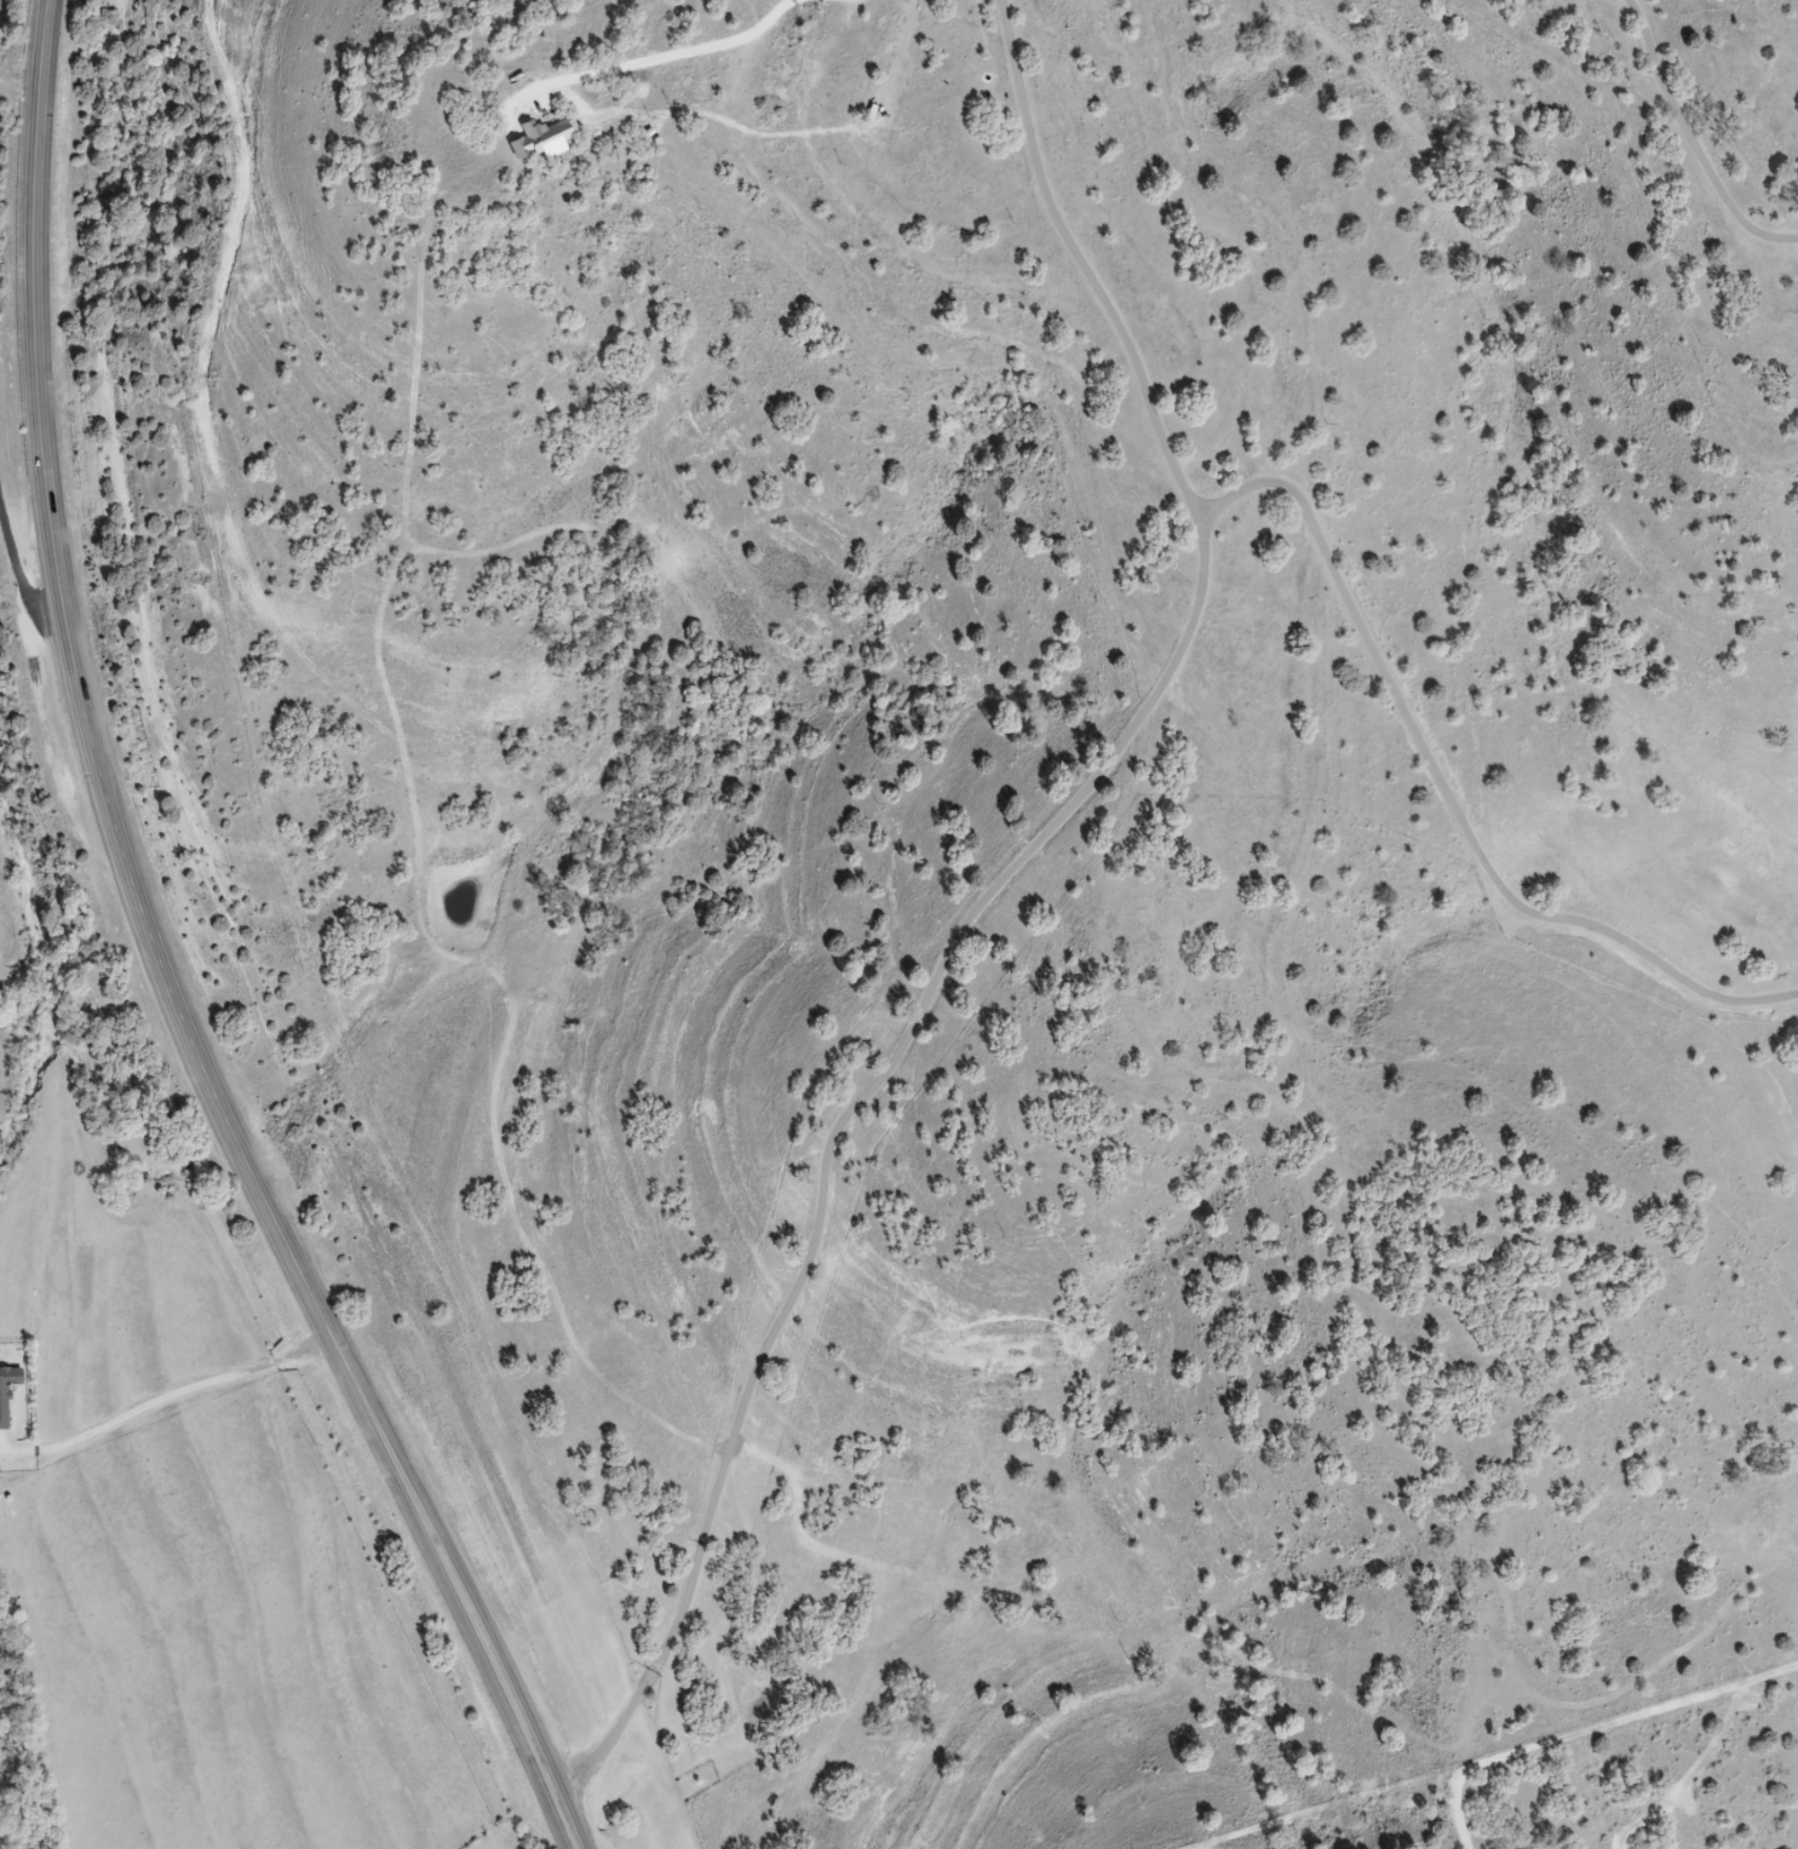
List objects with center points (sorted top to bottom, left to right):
road: (28, 86)
road: (1704, 137)
road: (23, 569)
road: (1444, 792)
road: (1005, 912)
road: (178, 959)
building: (8, 1395)
road: (173, 1405)

